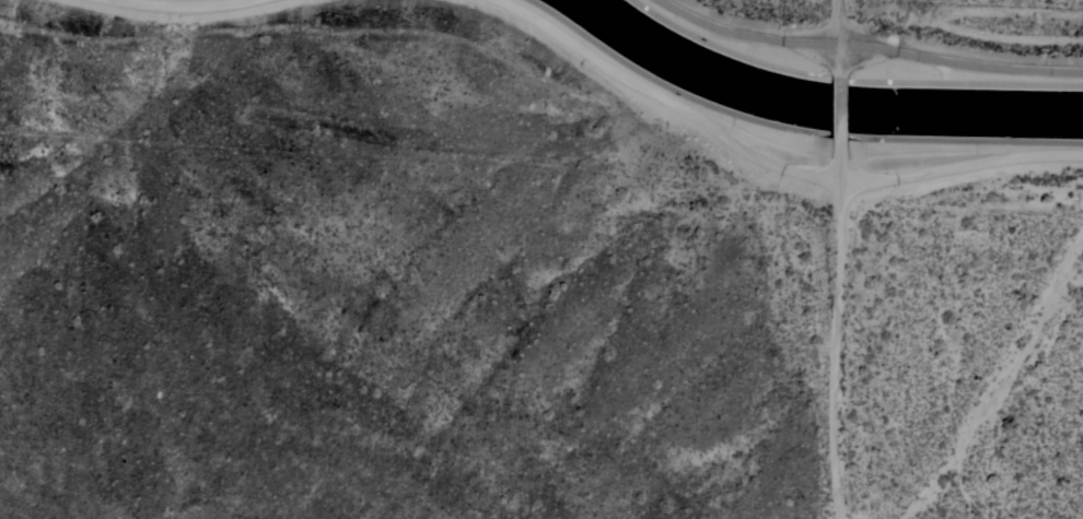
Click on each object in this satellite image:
road: (838, 34)
road: (839, 113)
road: (839, 339)

